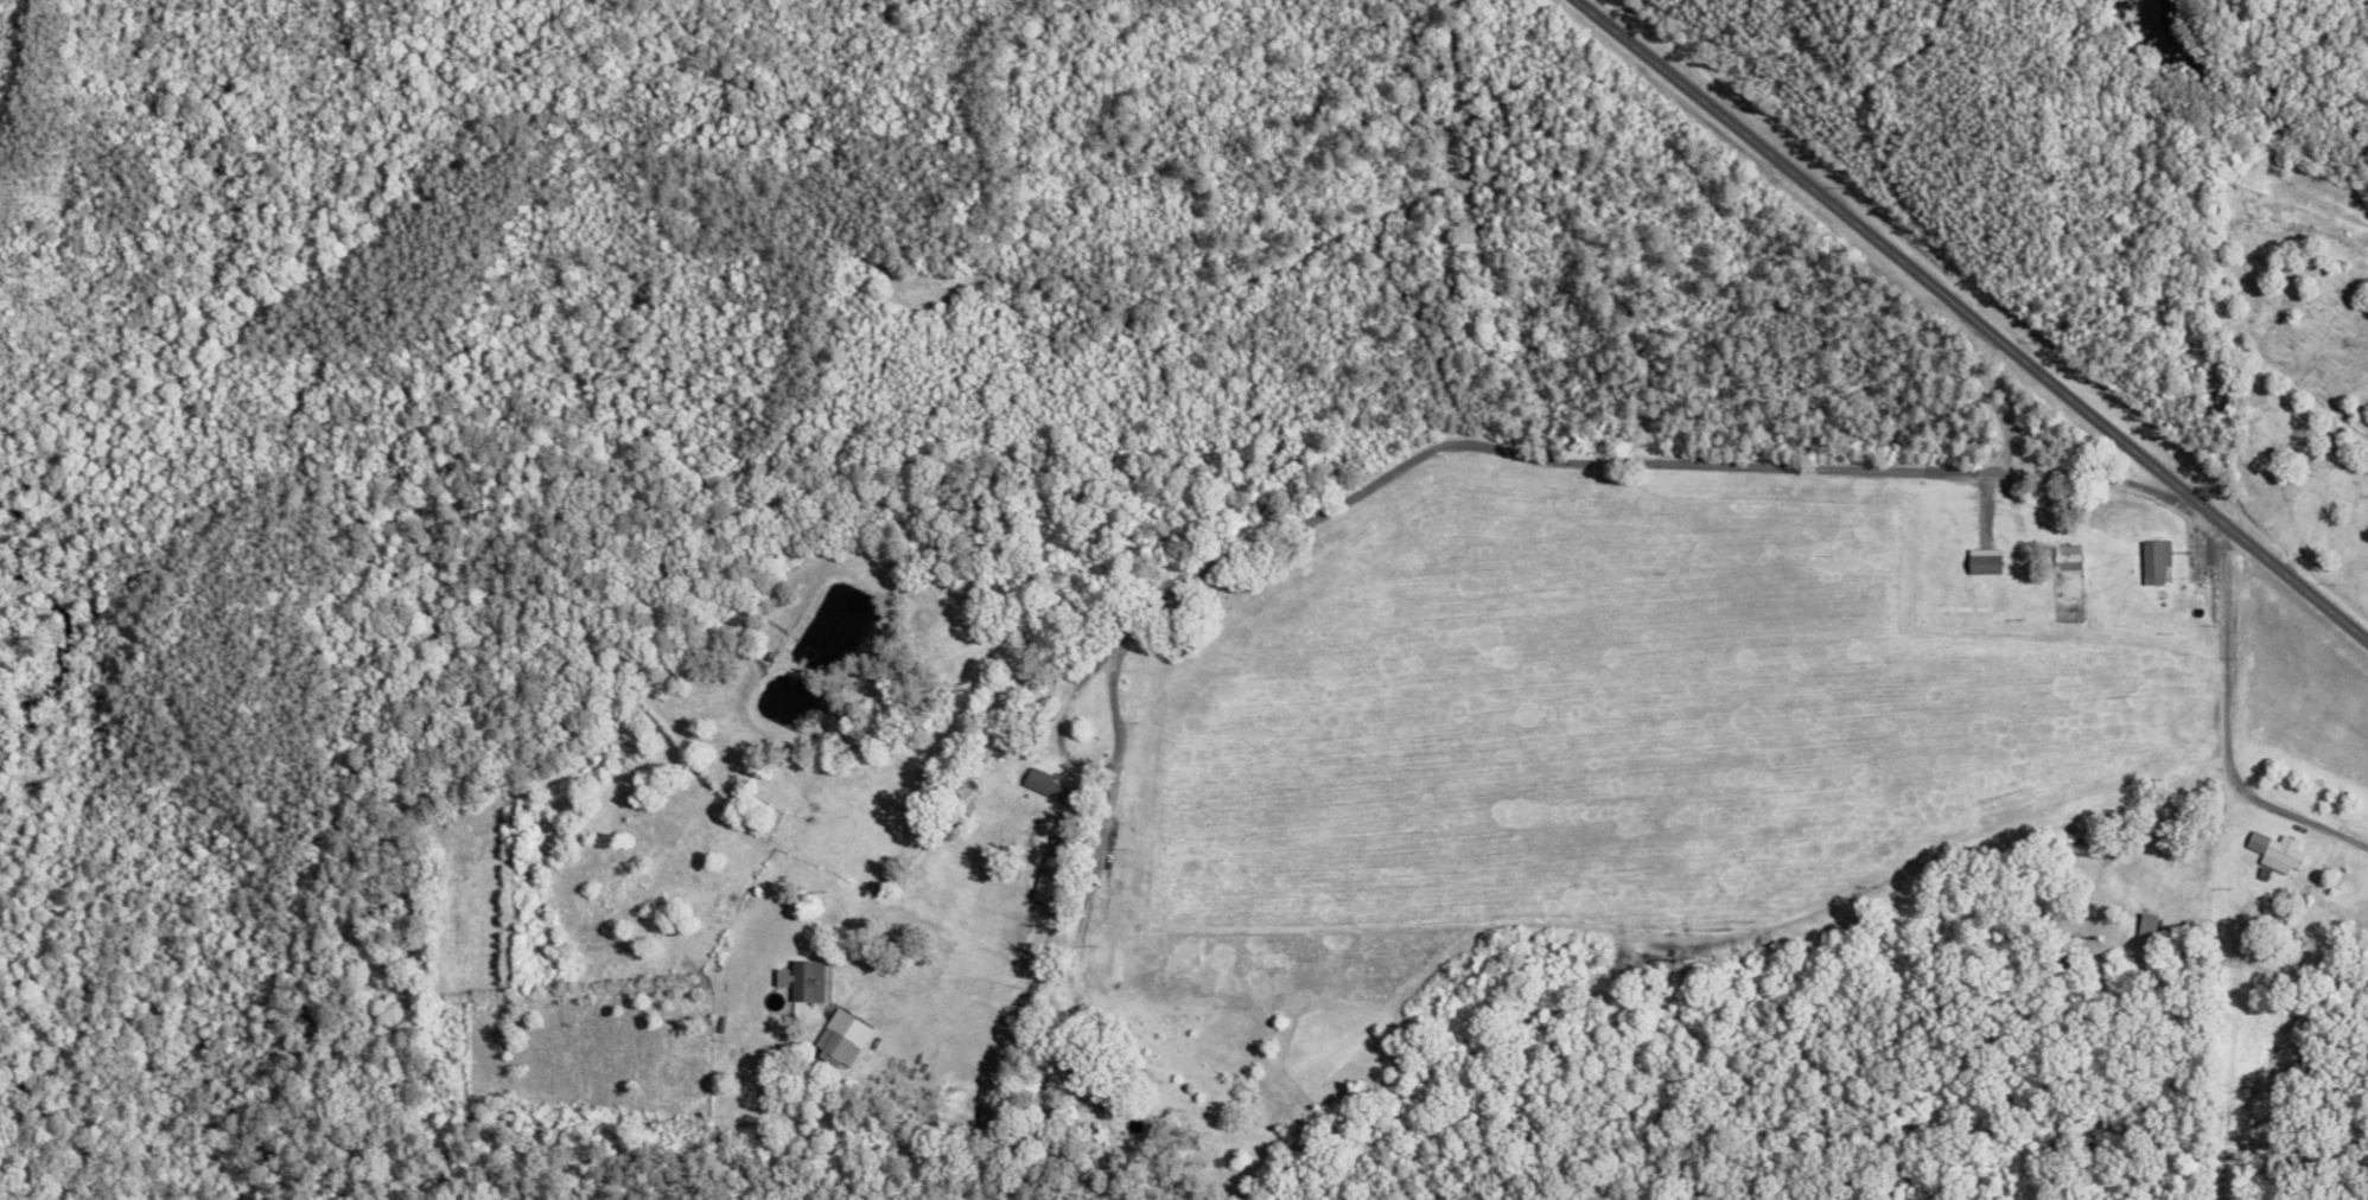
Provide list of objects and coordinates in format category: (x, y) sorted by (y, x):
road: (1896, 261)
road: (1428, 449)
building: (2068, 557)
building: (2156, 561)
building: (1984, 562)
road: (2292, 589)
road: (1050, 711)
road: (2221, 733)
building: (1048, 786)
road: (2122, 790)
building: (2278, 851)
building: (1050, 856)
building: (801, 979)
road: (947, 987)
building: (834, 1045)

